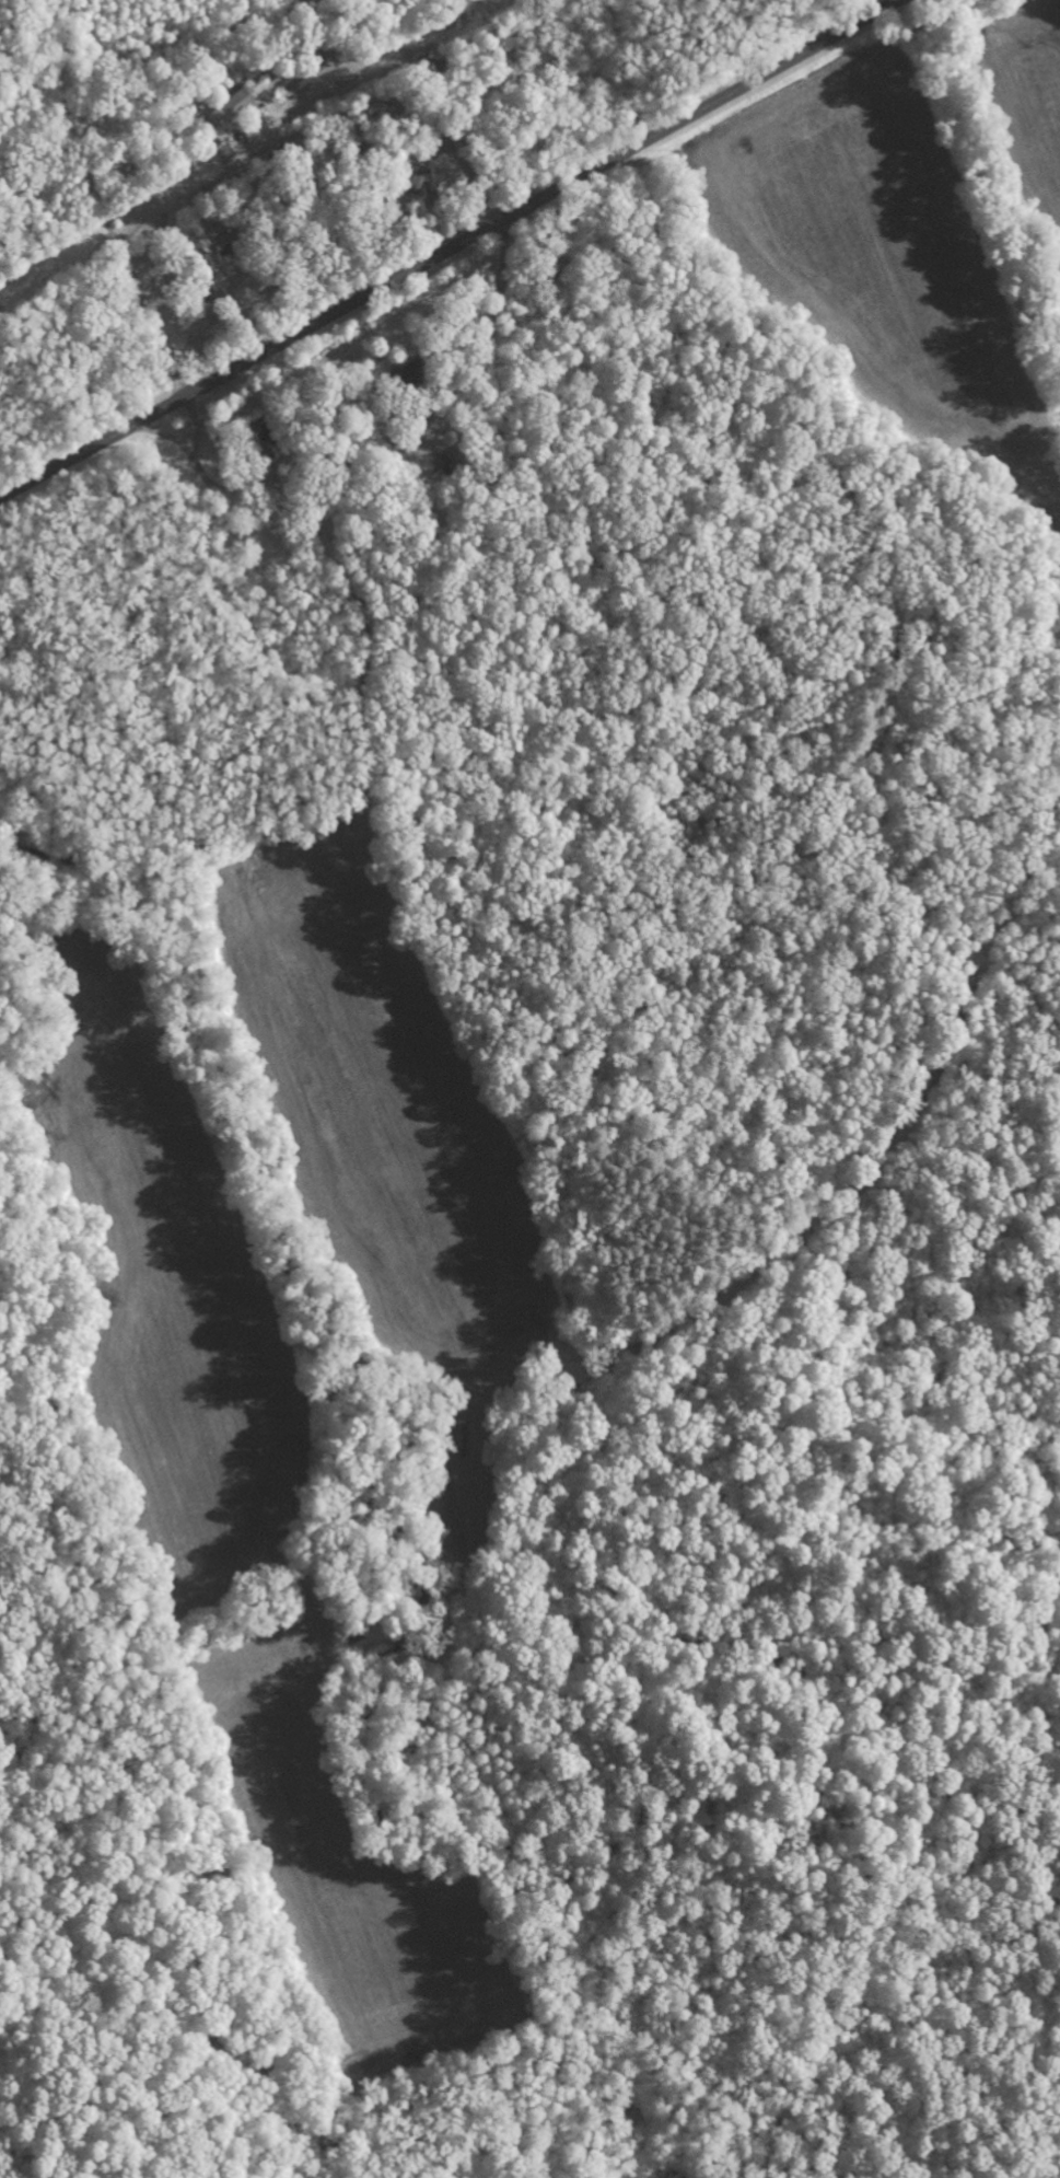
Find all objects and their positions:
road: (130, 103)
road: (352, 115)
road: (276, 167)
road: (449, 252)
road: (139, 296)

